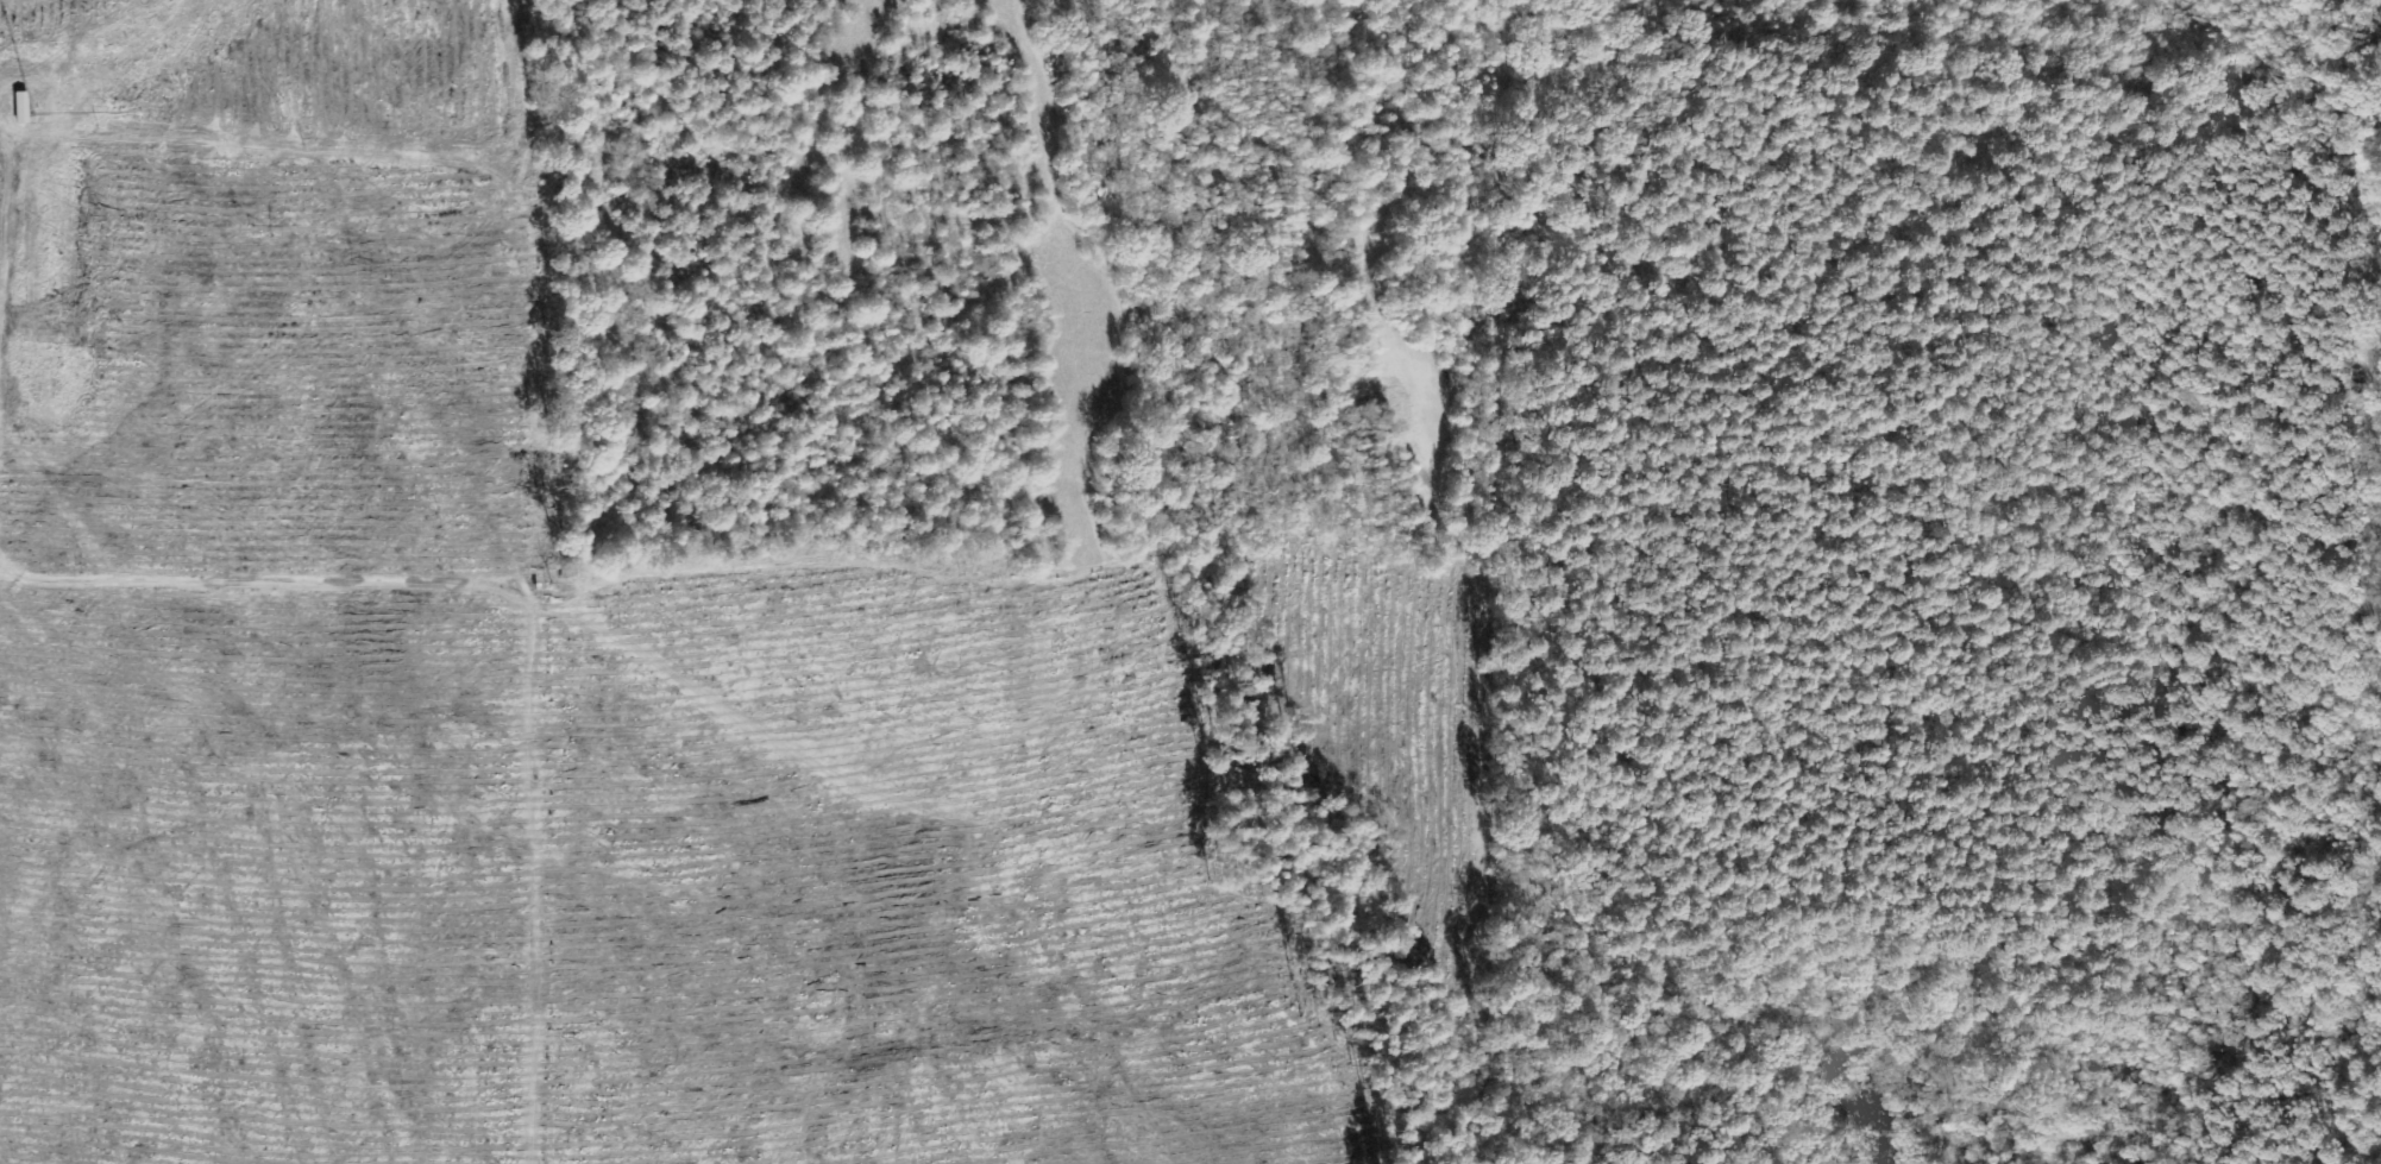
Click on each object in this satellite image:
road: (2379, 958)

